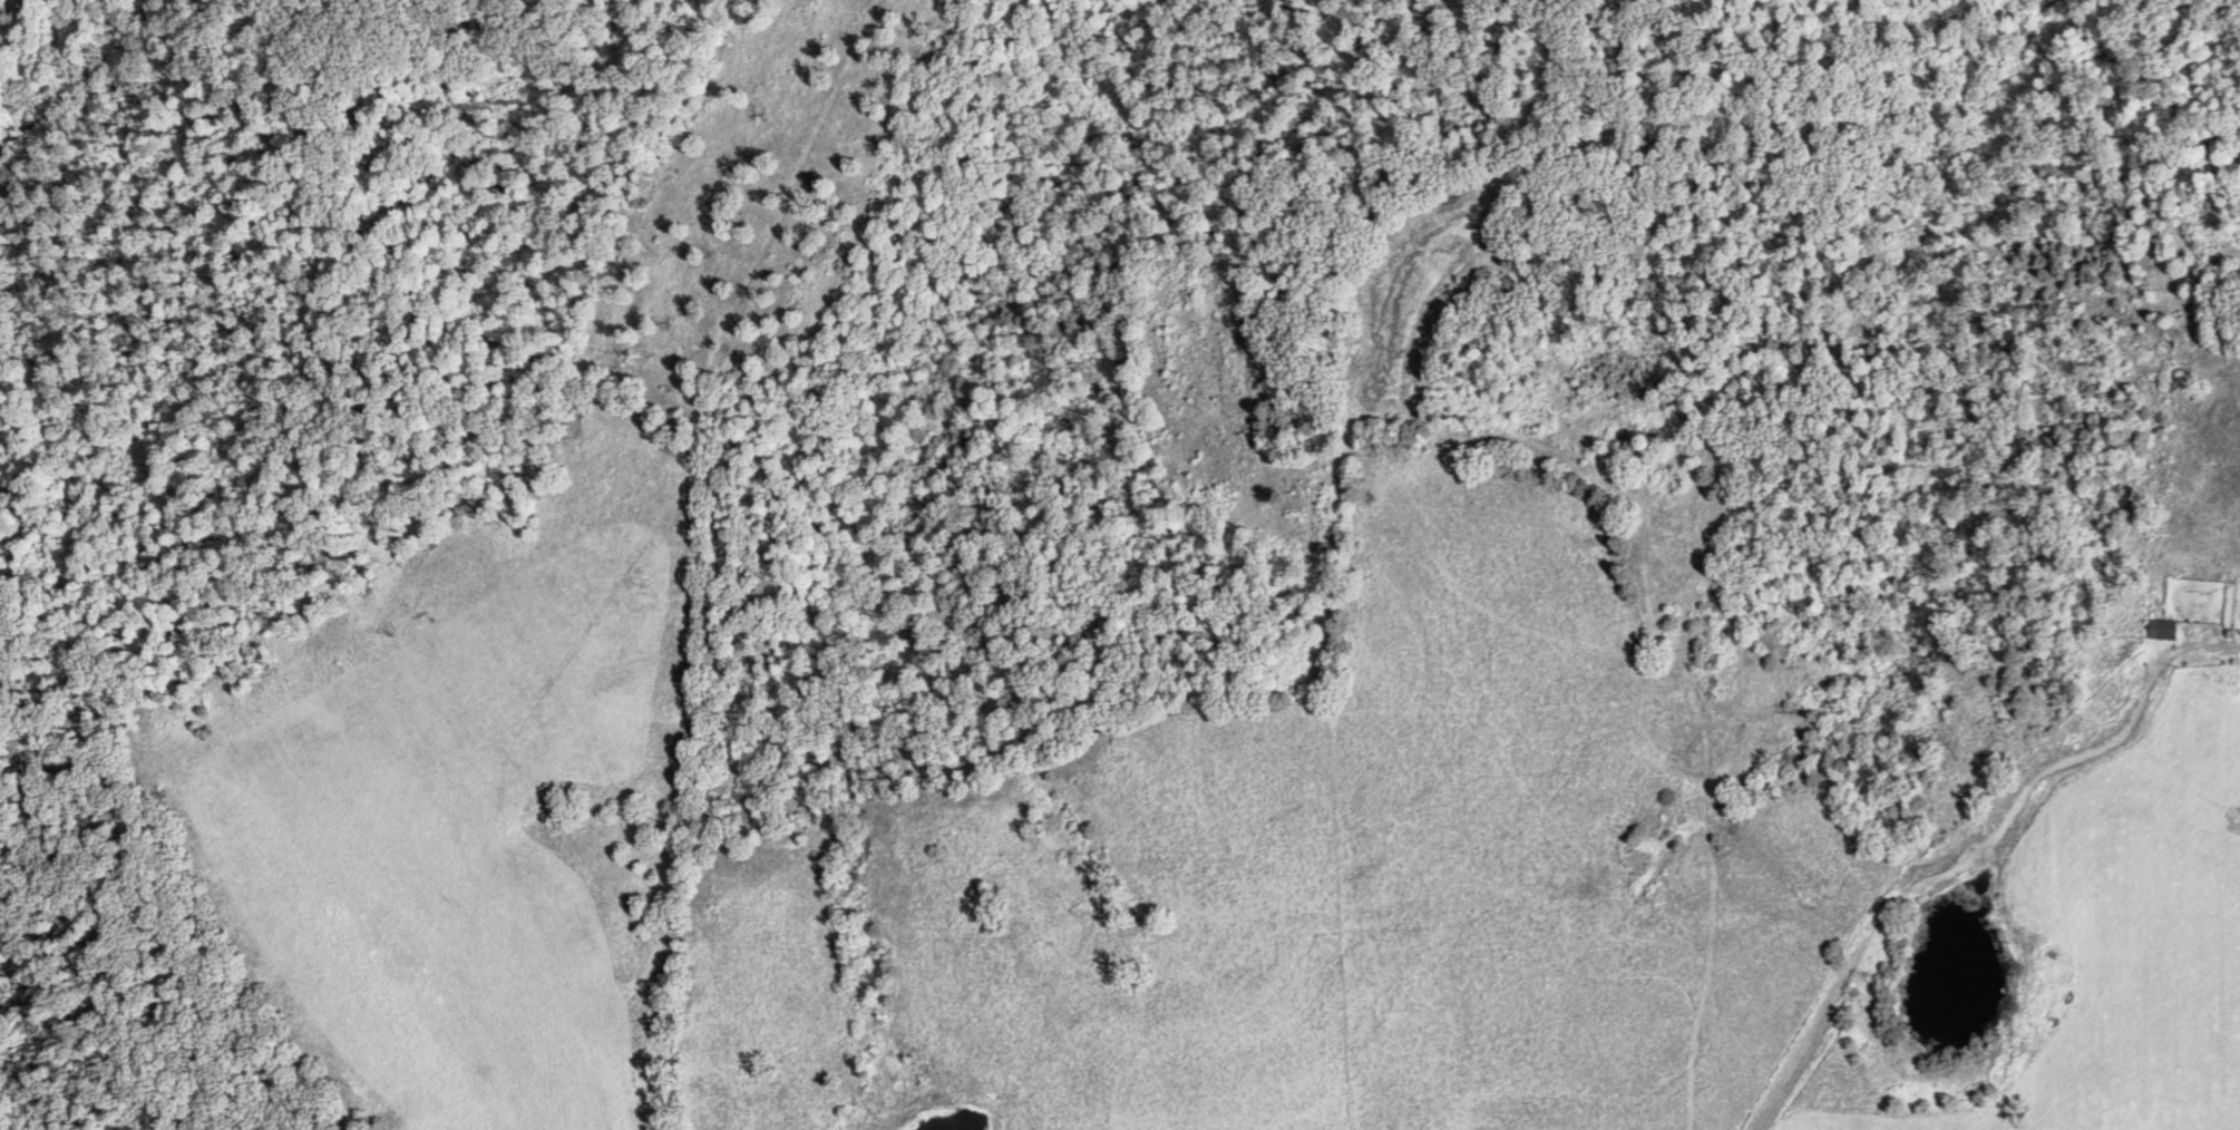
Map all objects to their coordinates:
building: (2158, 630)
road: (2075, 759)

